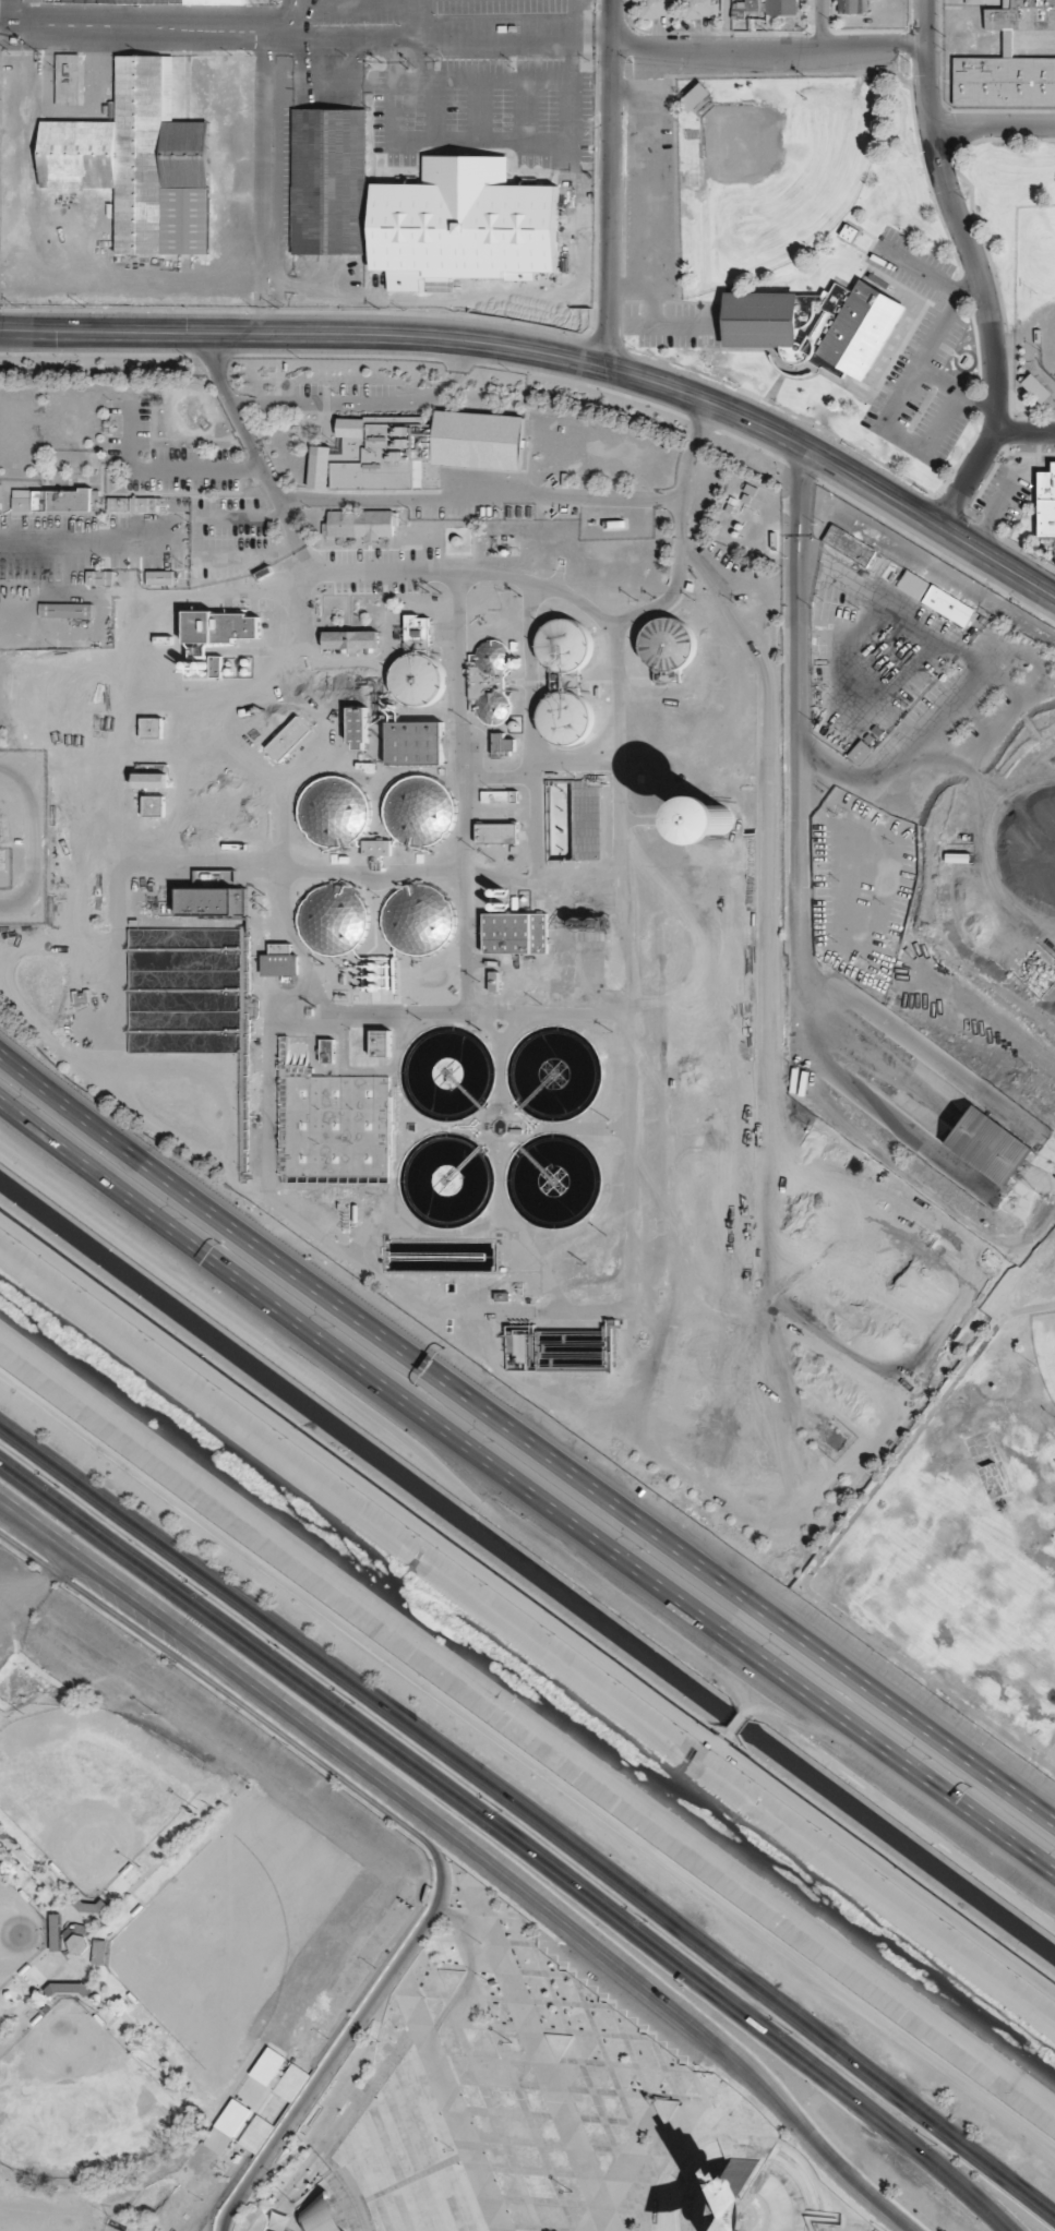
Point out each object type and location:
building: (43, 0)
building: (183, 0)
building: (974, 1)
road: (288, 5)
road: (340, 5)
building: (700, 9)
road: (726, 20)
road: (237, 21)
road: (823, 21)
road: (516, 32)
road: (769, 40)
road: (393, 57)
road: (422, 57)
building: (1008, 61)
building: (68, 79)
road: (567, 81)
road: (432, 110)
road: (478, 111)
road: (523, 111)
building: (139, 160)
park: (784, 175)
building: (327, 180)
road: (610, 183)
building: (579, 209)
road: (957, 215)
building: (463, 223)
park: (849, 271)
park: (1047, 286)
stadium: (1034, 305)
building: (815, 326)
road: (490, 344)
road: (1024, 433)
building: (415, 448)
road: (969, 479)
building: (52, 500)
building: (118, 504)
building: (143, 504)
building: (1046, 504)
building: (359, 524)
building: (849, 544)
road: (997, 562)
building: (100, 577)
building: (160, 577)
building: (913, 584)
building: (949, 605)
building: (67, 611)
building: (221, 626)
building: (417, 627)
building: (350, 639)
building: (668, 644)
building: (564, 645)
building: (215, 665)
building: (418, 679)
building: (492, 681)
building: (564, 717)
building: (358, 725)
building: (152, 727)
building: (289, 739)
building: (415, 743)
building: (502, 745)
building: (860, 752)
building: (151, 781)
building: (499, 796)
building: (334, 811)
building: (419, 811)
building: (717, 818)
water tower: (726, 819)
building: (496, 832)
road: (29, 835)
building: (376, 848)
building: (213, 901)
building: (333, 919)
building: (419, 919)
building: (515, 933)
building: (611, 955)
building: (280, 962)
building: (381, 1042)
building: (990, 1136)
park: (1045, 1346)
road: (524, 1439)
road: (526, 1488)
park: (969, 1526)
road: (825, 1558)
road: (24, 1593)
river: (528, 1682)
road: (523, 1761)
road: (1044, 1771)
park: (85, 1788)
road: (520, 1819)
road: (399, 1836)
road: (500, 1838)
road: (467, 1845)
park: (16, 1929)
park: (159, 1931)
park: (225, 1936)
park: (74, 2098)
park: (534, 2111)
road: (1045, 2215)
road: (991, 2226)

